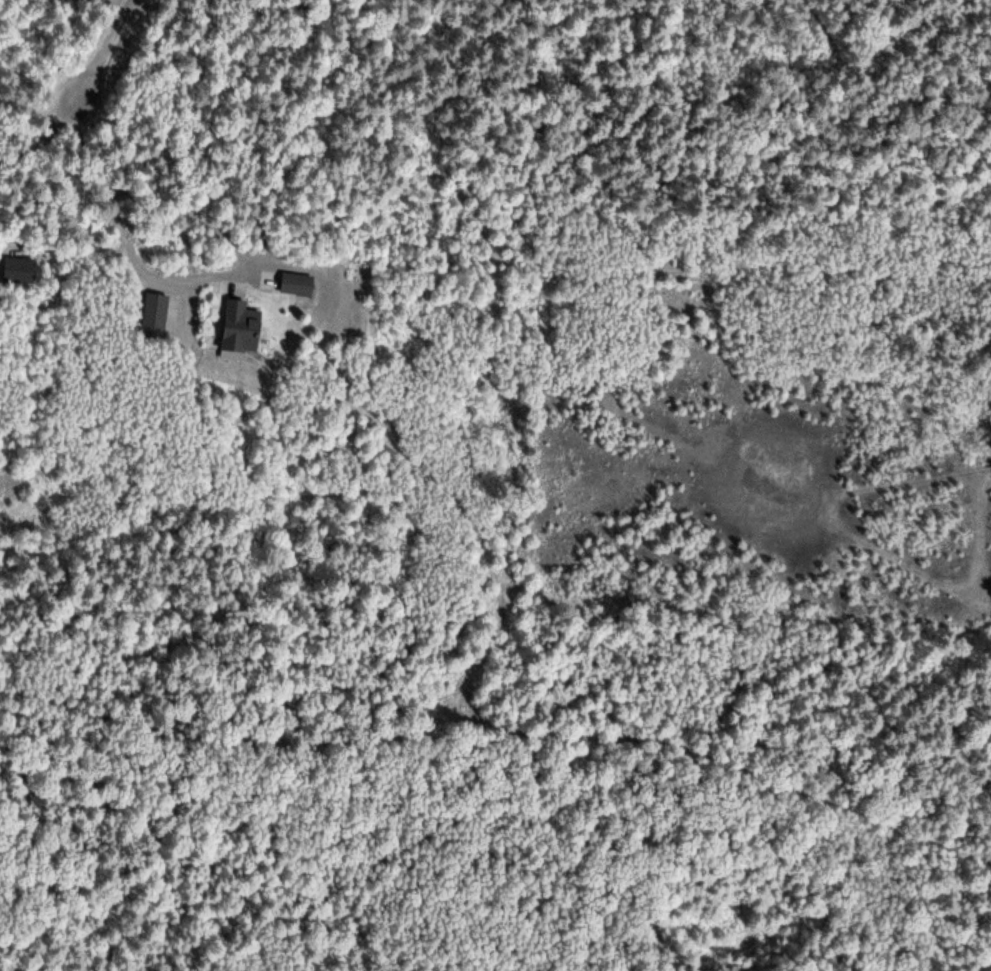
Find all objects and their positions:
road: (79, 93)
building: (20, 268)
road: (1, 270)
road: (186, 278)
building: (298, 281)
building: (155, 308)
building: (250, 326)
road: (501, 721)
road: (755, 884)
road: (310, 927)

